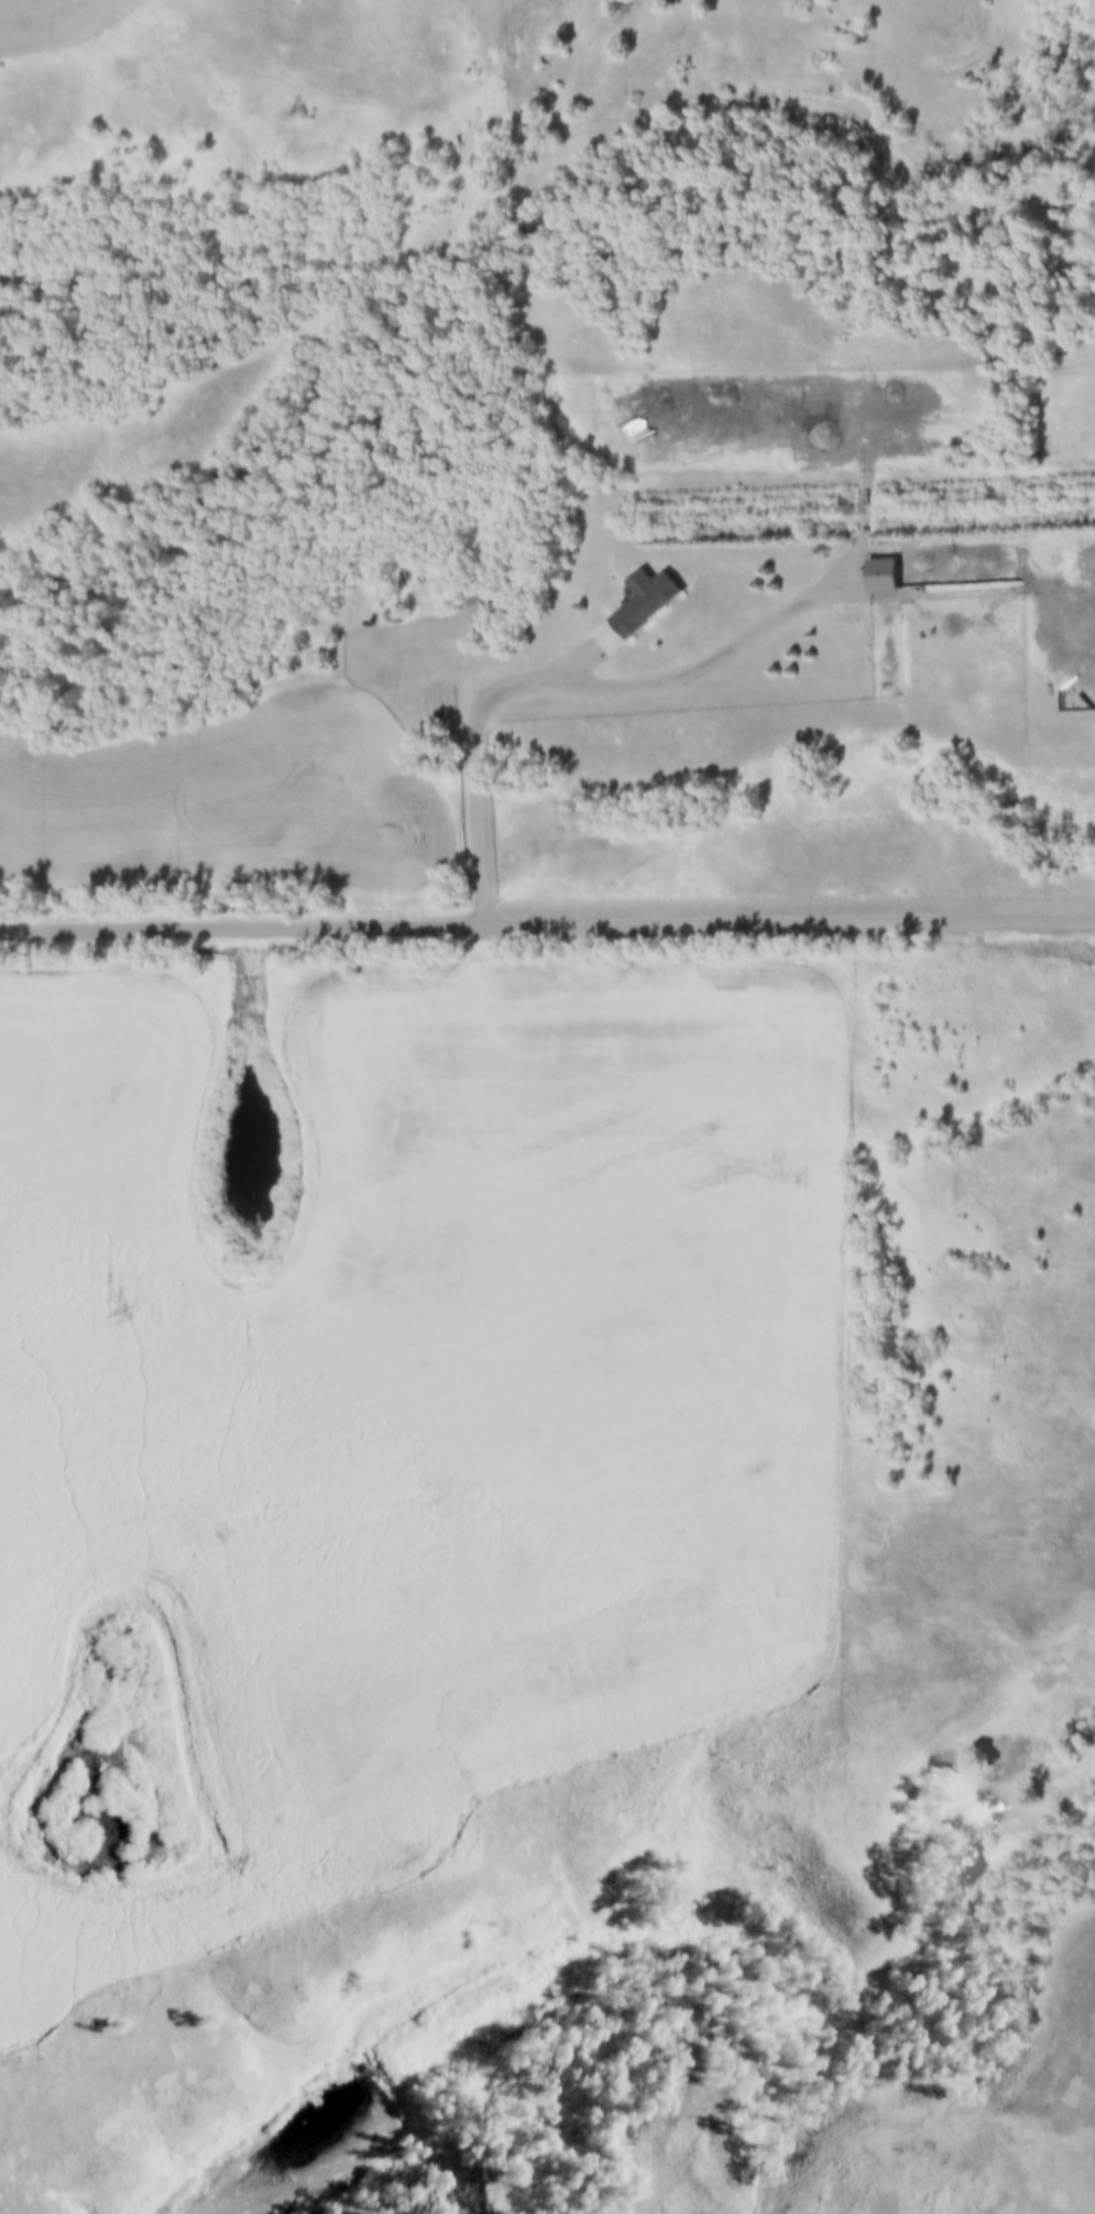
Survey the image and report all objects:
building: (889, 576)
building: (655, 604)
building: (399, 614)
road: (547, 927)

